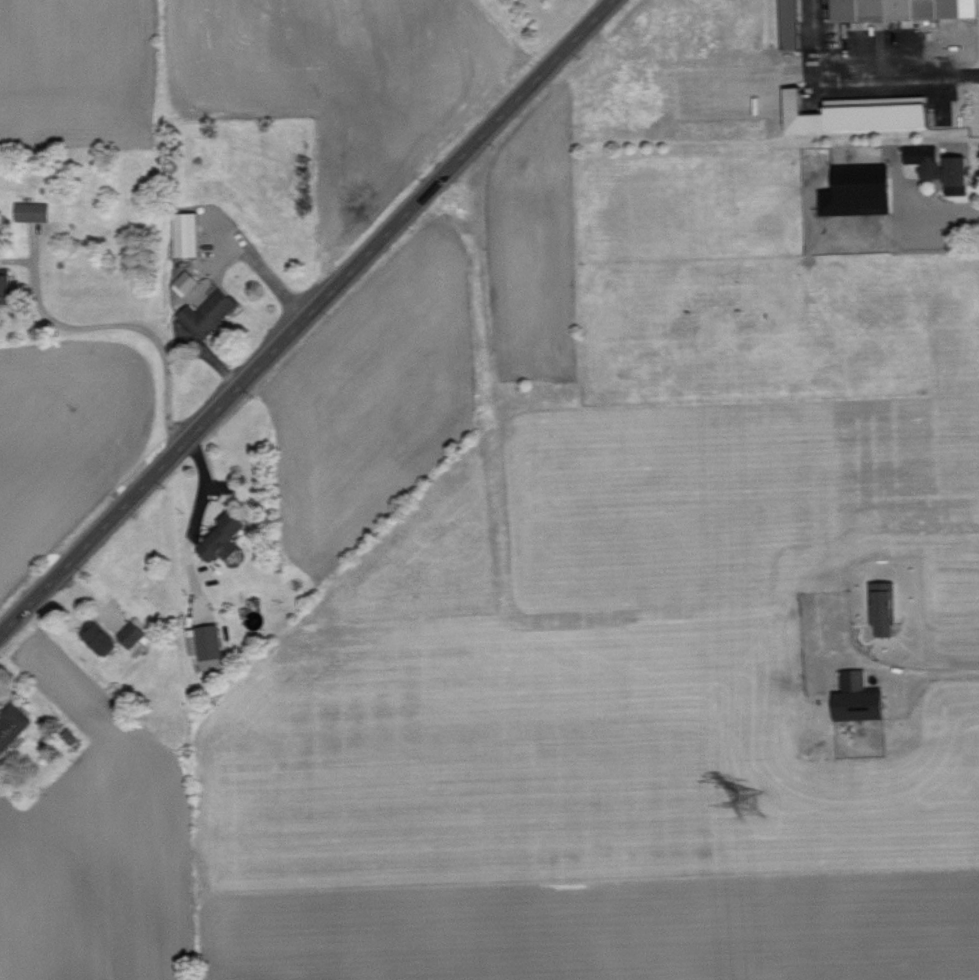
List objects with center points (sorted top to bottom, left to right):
building: (904, 9)
building: (793, 25)
road: (863, 76)
building: (859, 113)
building: (943, 168)
building: (859, 191)
building: (33, 210)
building: (188, 234)
building: (186, 282)
building: (6, 285)
building: (209, 313)
road: (306, 317)
road: (145, 328)
building: (223, 536)
building: (886, 606)
building: (132, 633)
building: (99, 636)
road: (910, 671)
building: (860, 697)
building: (13, 724)
building: (70, 735)
power tower: (754, 807)

